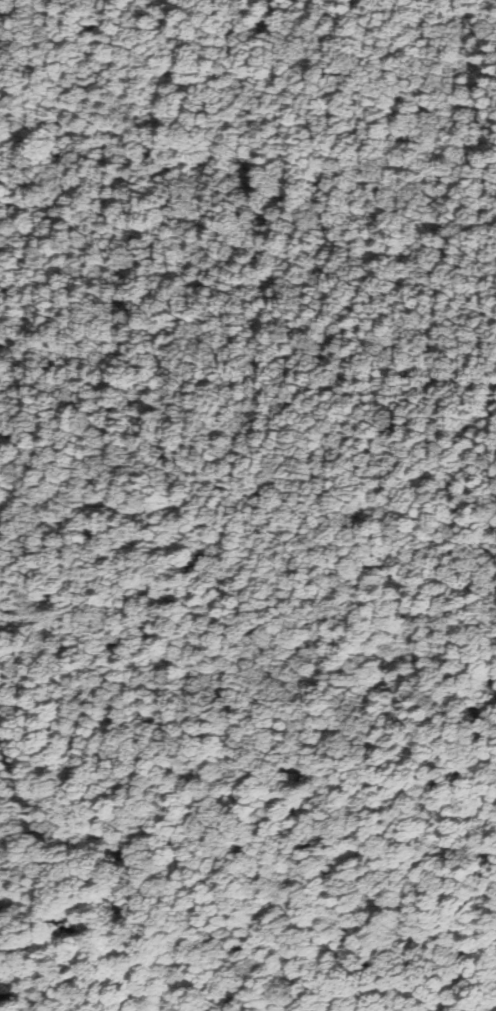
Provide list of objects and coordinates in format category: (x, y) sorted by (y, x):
road: (44, 277)
road: (391, 369)
park: (256, 376)
road: (494, 400)
road: (55, 435)
road: (198, 481)
road: (265, 501)
road: (55, 799)
building: (4, 995)

